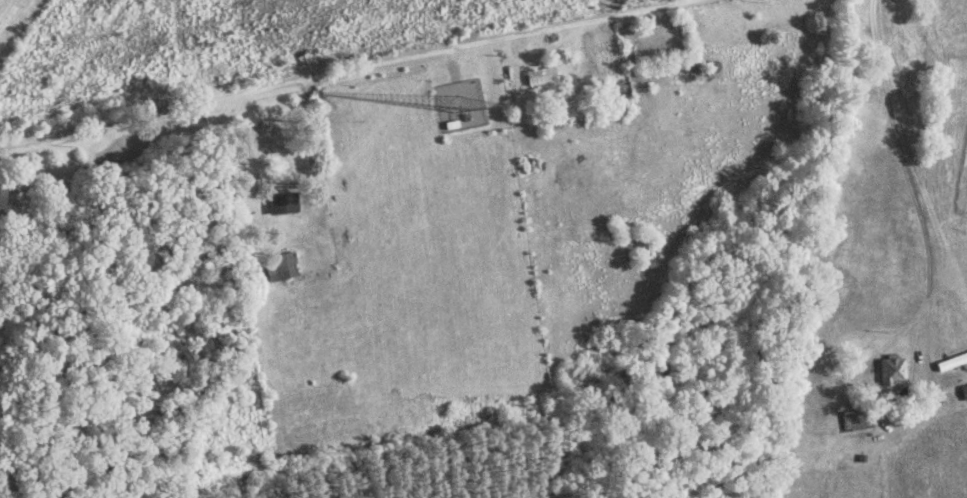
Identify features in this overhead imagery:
building: (707, 68)
building: (539, 77)
building: (259, 136)
building: (0, 191)
building: (281, 204)
road: (471, 261)
building: (281, 267)
road: (647, 359)
building: (951, 363)
building: (893, 376)

